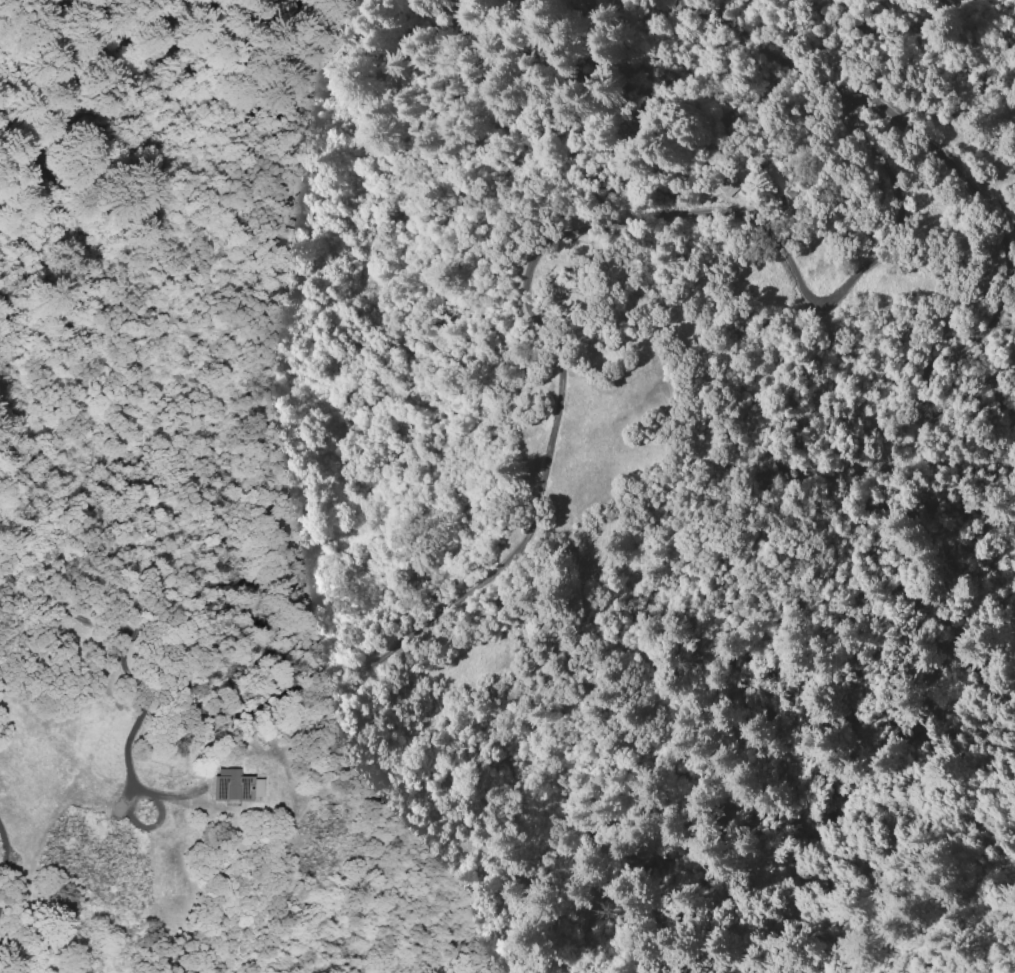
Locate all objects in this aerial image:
building: (235, 785)

